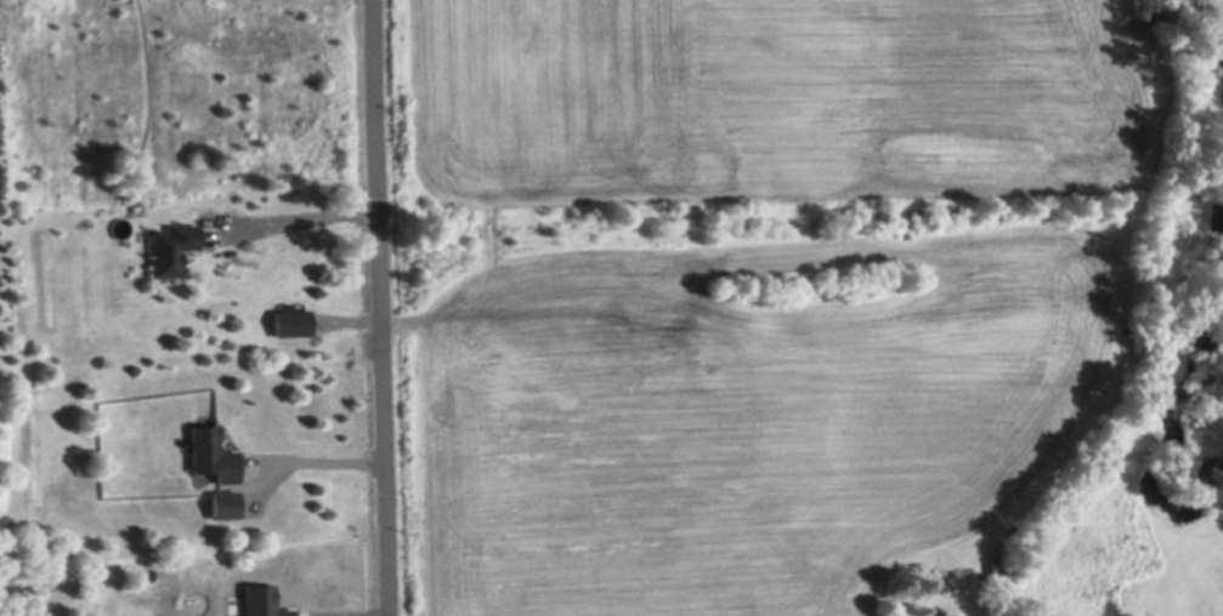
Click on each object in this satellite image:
road: (298, 217)
building: (174, 246)
road: (378, 308)
building: (290, 324)
river: (1174, 330)
building: (214, 451)
road: (301, 460)
building: (222, 504)
building: (56, 513)
building: (160, 529)
building: (997, 563)
building: (260, 601)

